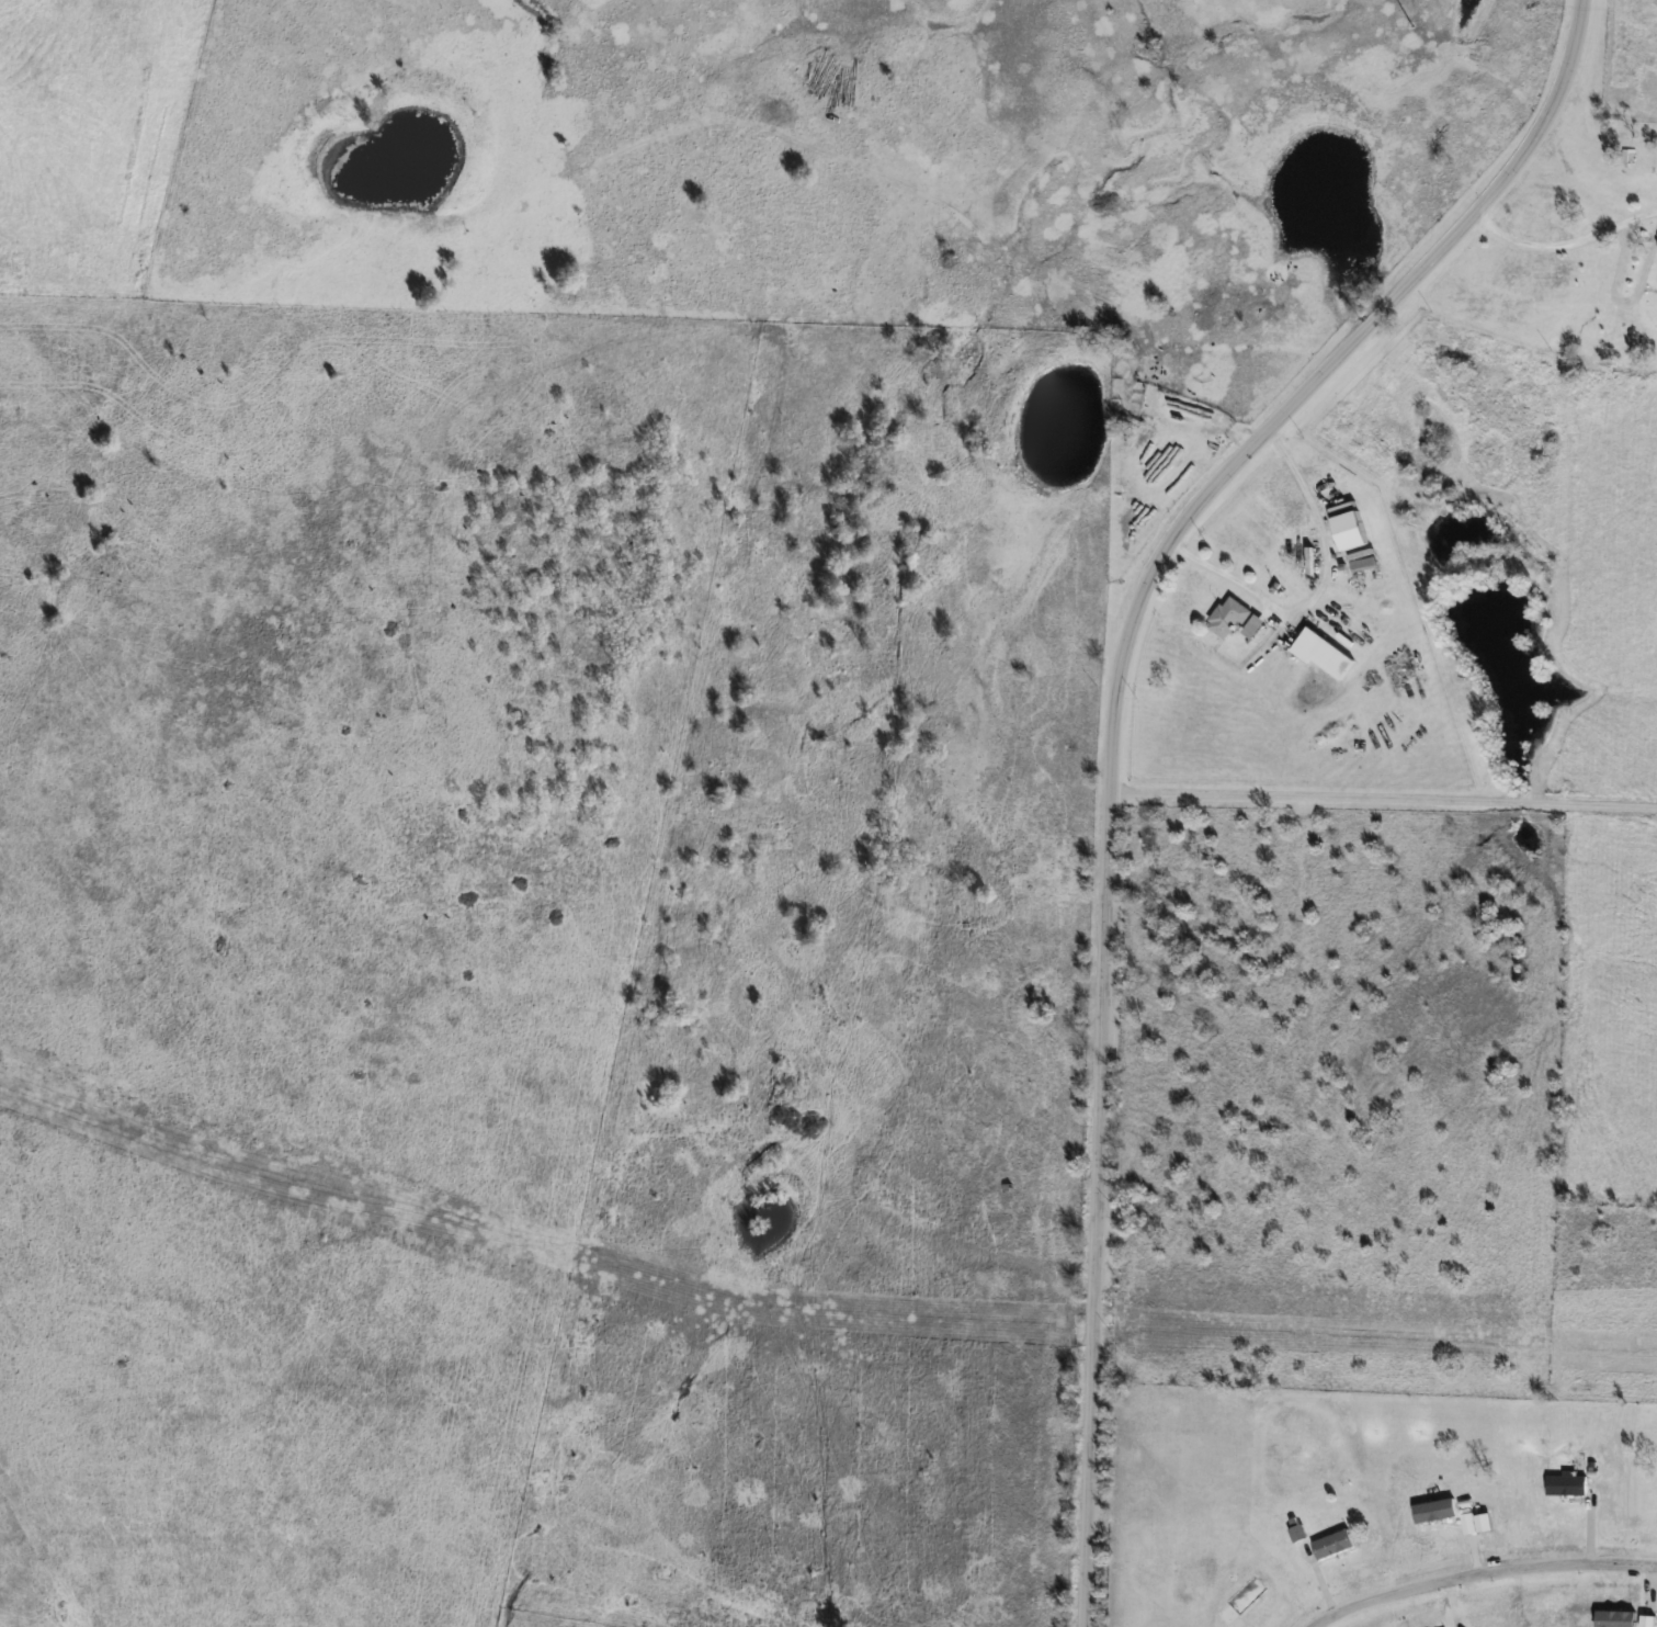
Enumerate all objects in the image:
power tower: (1414, 27)
road: (1563, 241)
building: (1351, 530)
building: (1363, 563)
road: (1317, 586)
building: (1228, 618)
building: (1253, 626)
building: (1323, 653)
road: (1112, 732)
road: (1382, 796)
building: (1562, 1488)
building: (1433, 1509)
building: (1298, 1533)
building: (1335, 1545)
road: (1478, 1574)
building: (1242, 1601)

